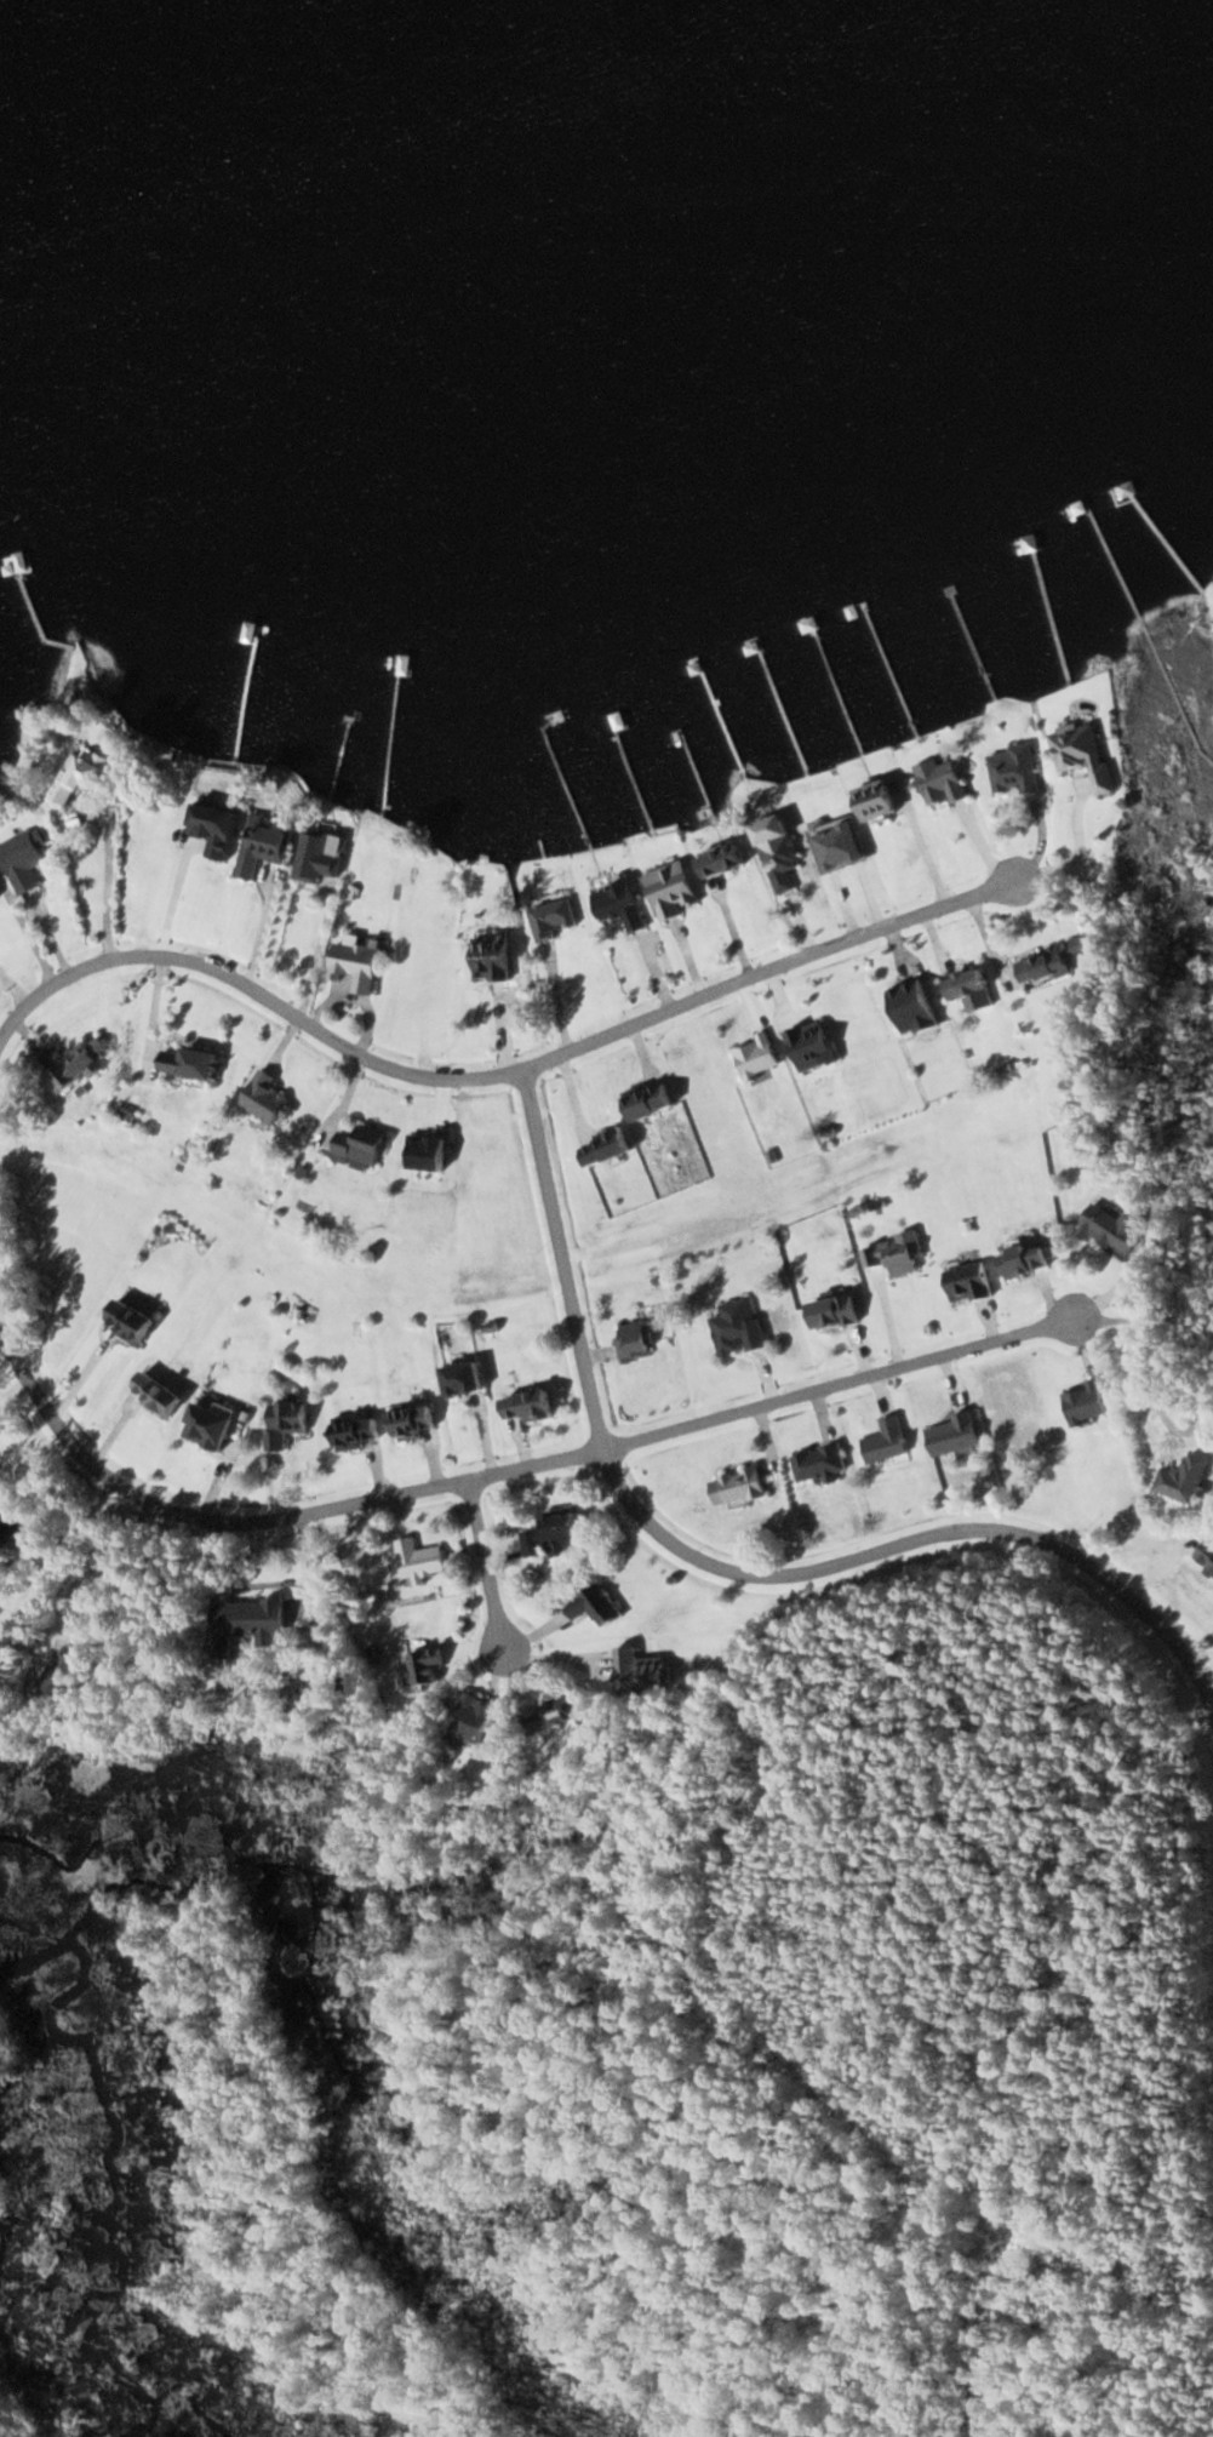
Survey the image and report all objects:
river: (397, 98)
building: (1014, 770)
building: (82, 777)
building: (946, 782)
building: (885, 800)
building: (223, 826)
building: (268, 845)
building: (843, 845)
building: (782, 854)
building: (321, 856)
building: (28, 859)
building: (727, 860)
building: (677, 888)
building: (624, 905)
building: (554, 916)
building: (491, 955)
building: (1054, 962)
building: (362, 965)
building: (969, 984)
building: (813, 1047)
building: (759, 1058)
building: (194, 1062)
building: (85, 1063)
road: (493, 1075)
building: (268, 1099)
building: (653, 1100)
building: (364, 1146)
building: (612, 1148)
building: (1115, 1225)
building: (898, 1254)
building: (1029, 1258)
building: (972, 1281)
building: (136, 1317)
building: (742, 1326)
building: (637, 1337)
building: (470, 1377)
road: (847, 1383)
building: (164, 1392)
building: (1086, 1402)
building: (534, 1406)
building: (291, 1420)
building: (416, 1420)
building: (216, 1421)
building: (362, 1431)
building: (956, 1434)
building: (888, 1441)
road: (93, 1463)
building: (822, 1465)
building: (1188, 1478)
road: (420, 1487)
building: (740, 1487)
building: (557, 1537)
building: (1207, 1555)
road: (736, 1557)
building: (422, 1558)
road: (488, 1562)
building: (599, 1606)
building: (252, 1621)
building: (429, 1667)
building: (643, 1675)
building: (561, 1712)
building: (477, 1720)

